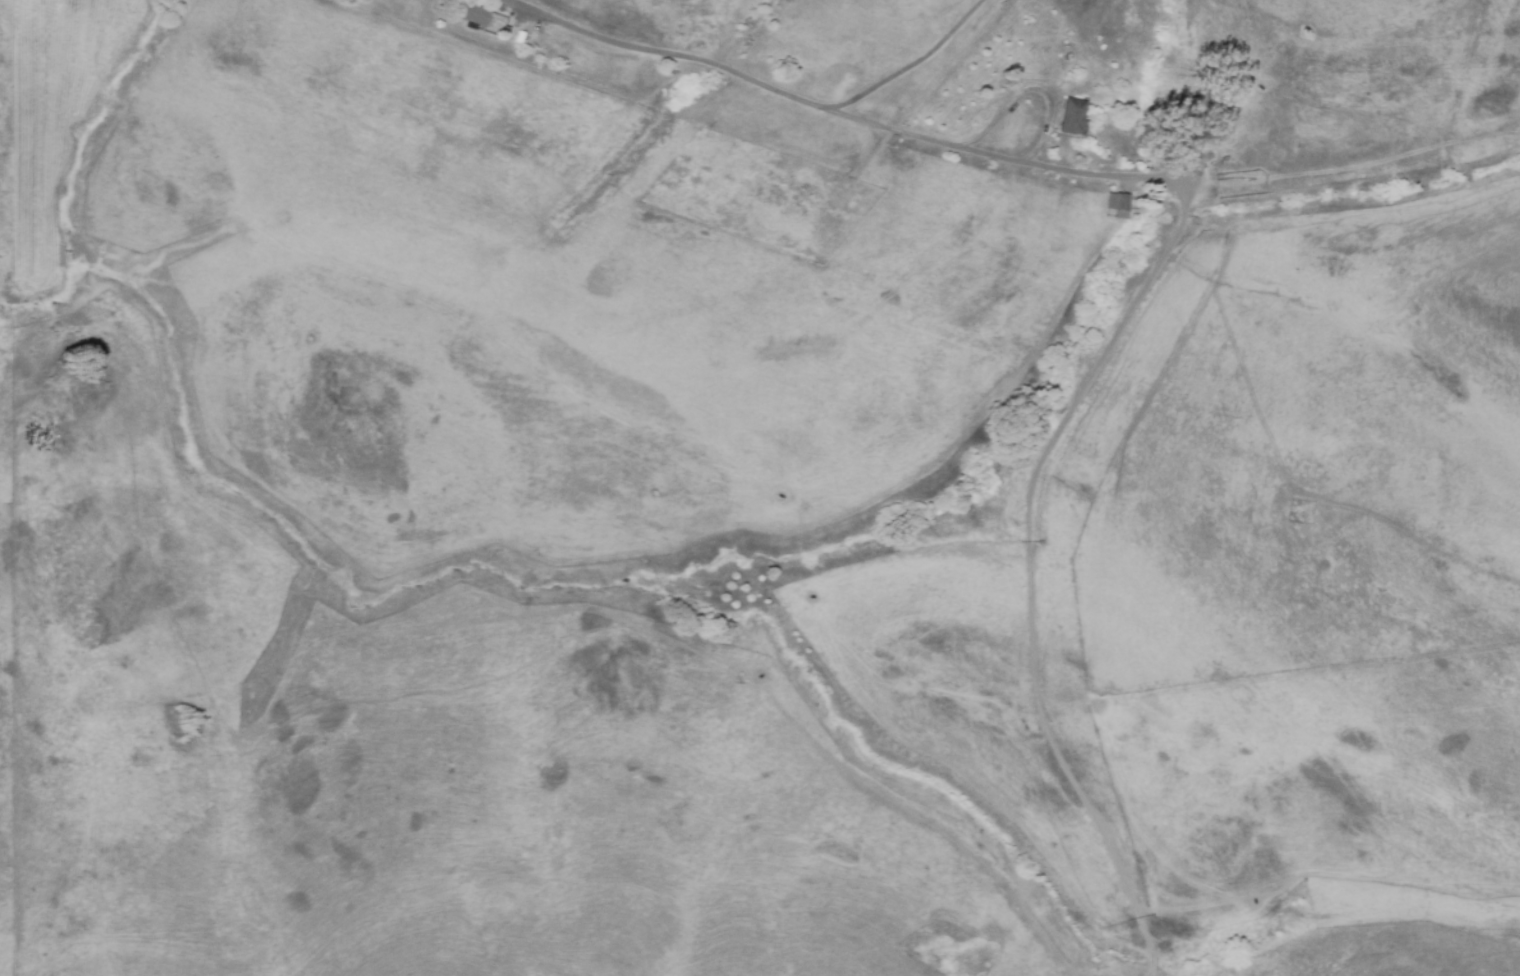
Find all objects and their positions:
building: (474, 16)
park: (733, 60)
road: (758, 82)
road: (1029, 90)
building: (1197, 104)
building: (1071, 117)
road: (978, 151)
building: (1121, 202)
building: (1115, 206)

